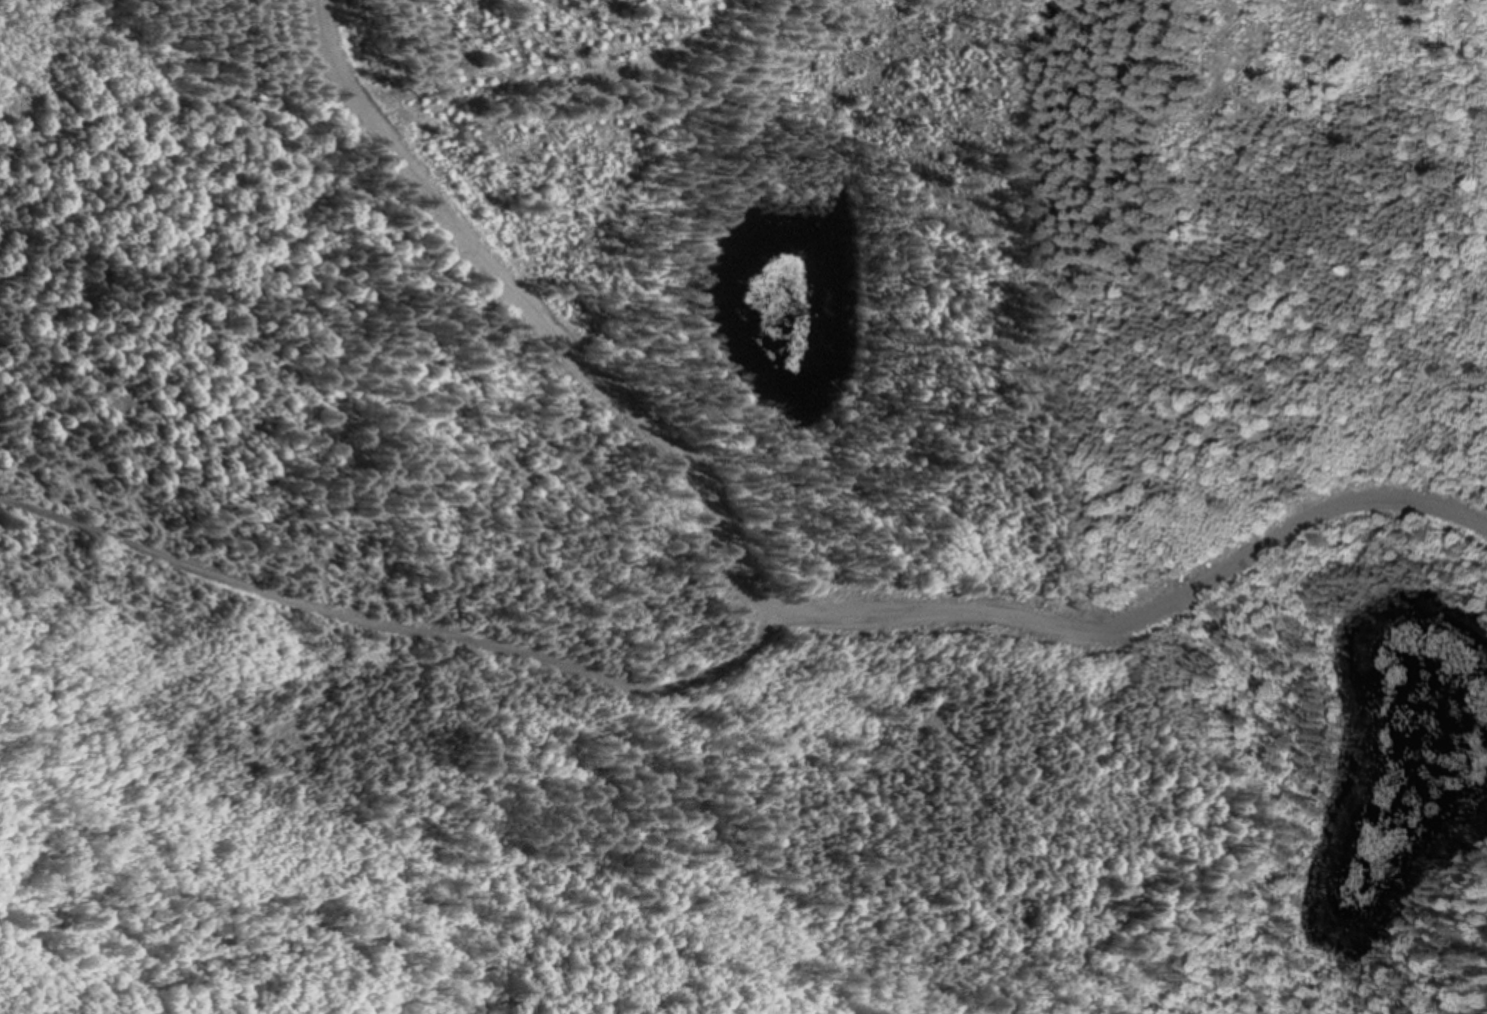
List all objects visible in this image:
road: (326, 60)
road: (760, 608)

